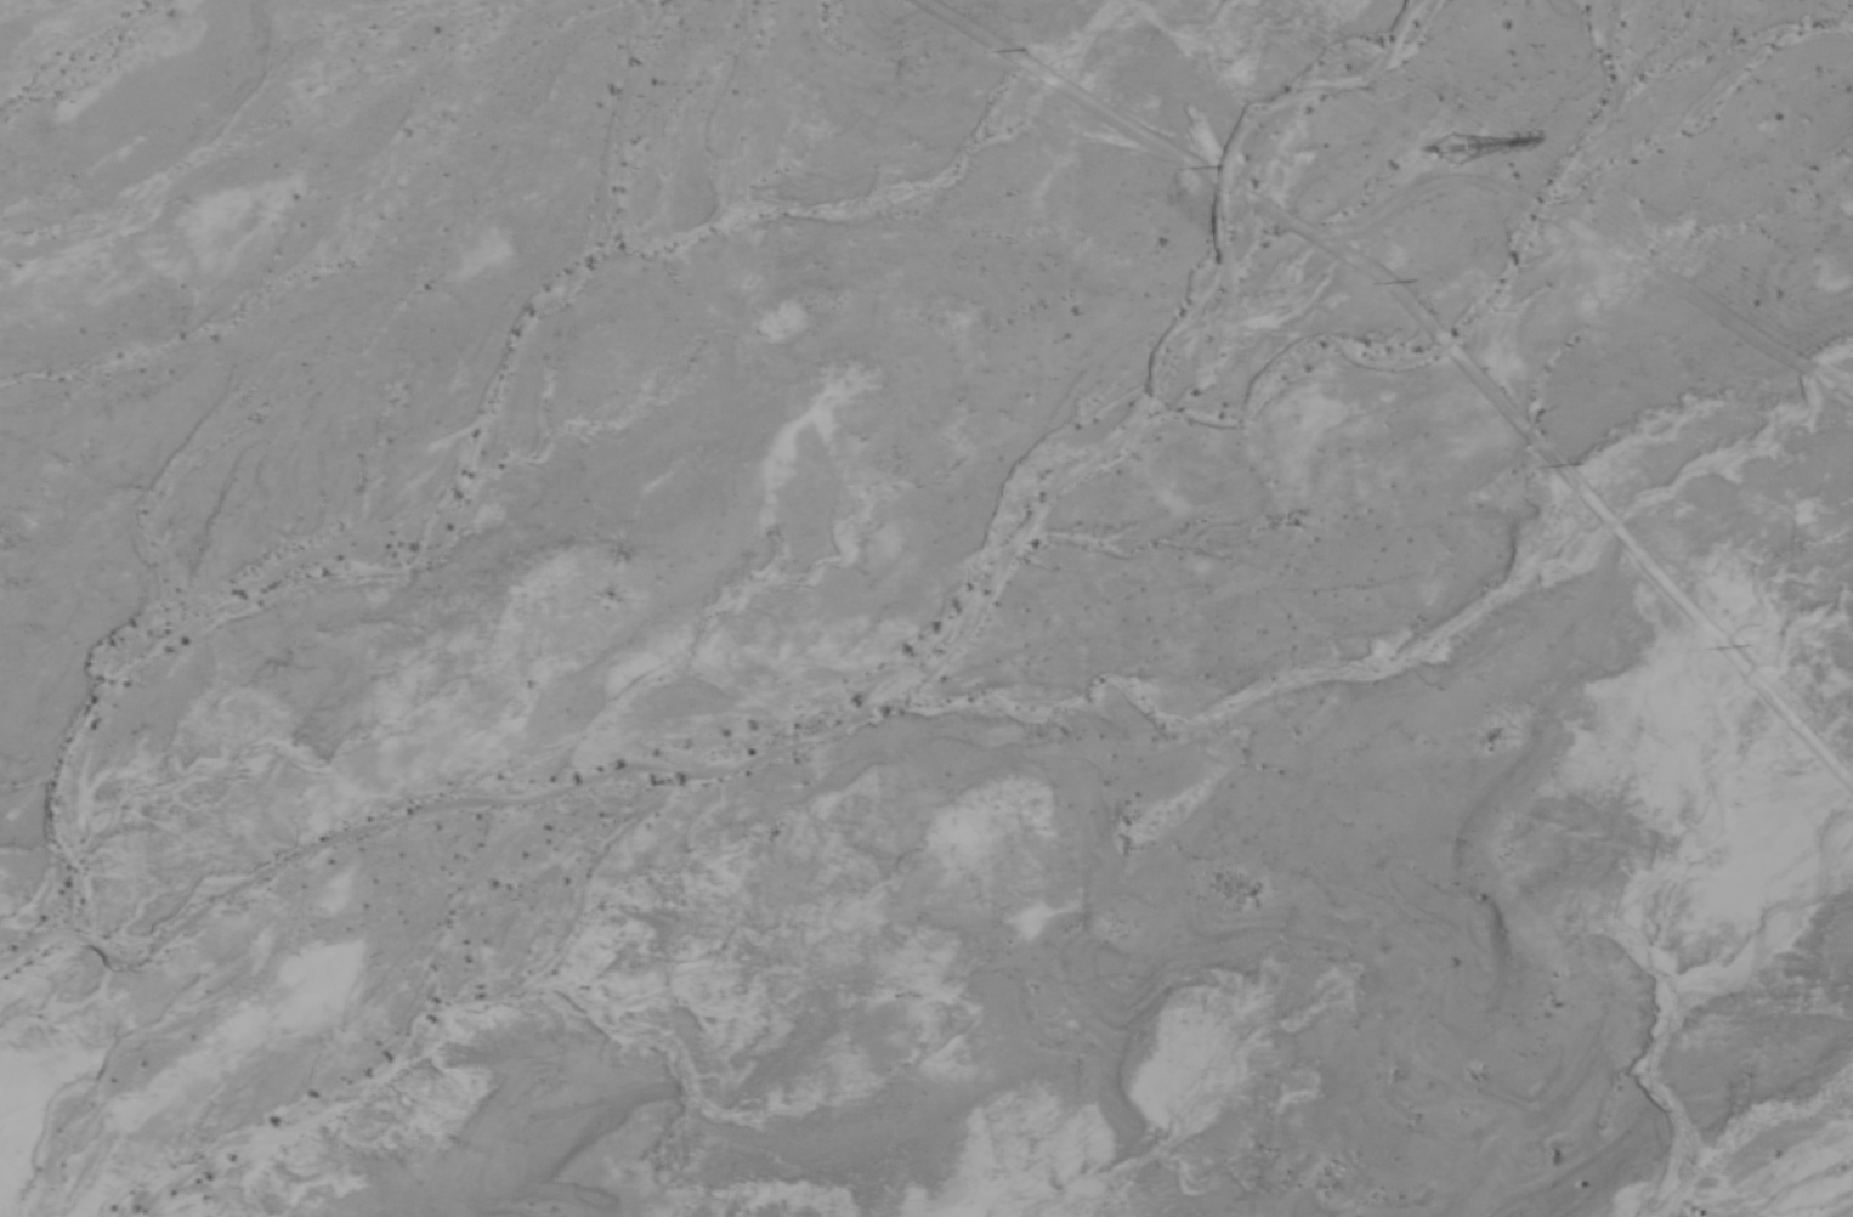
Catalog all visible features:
power tower: (1462, 158)

